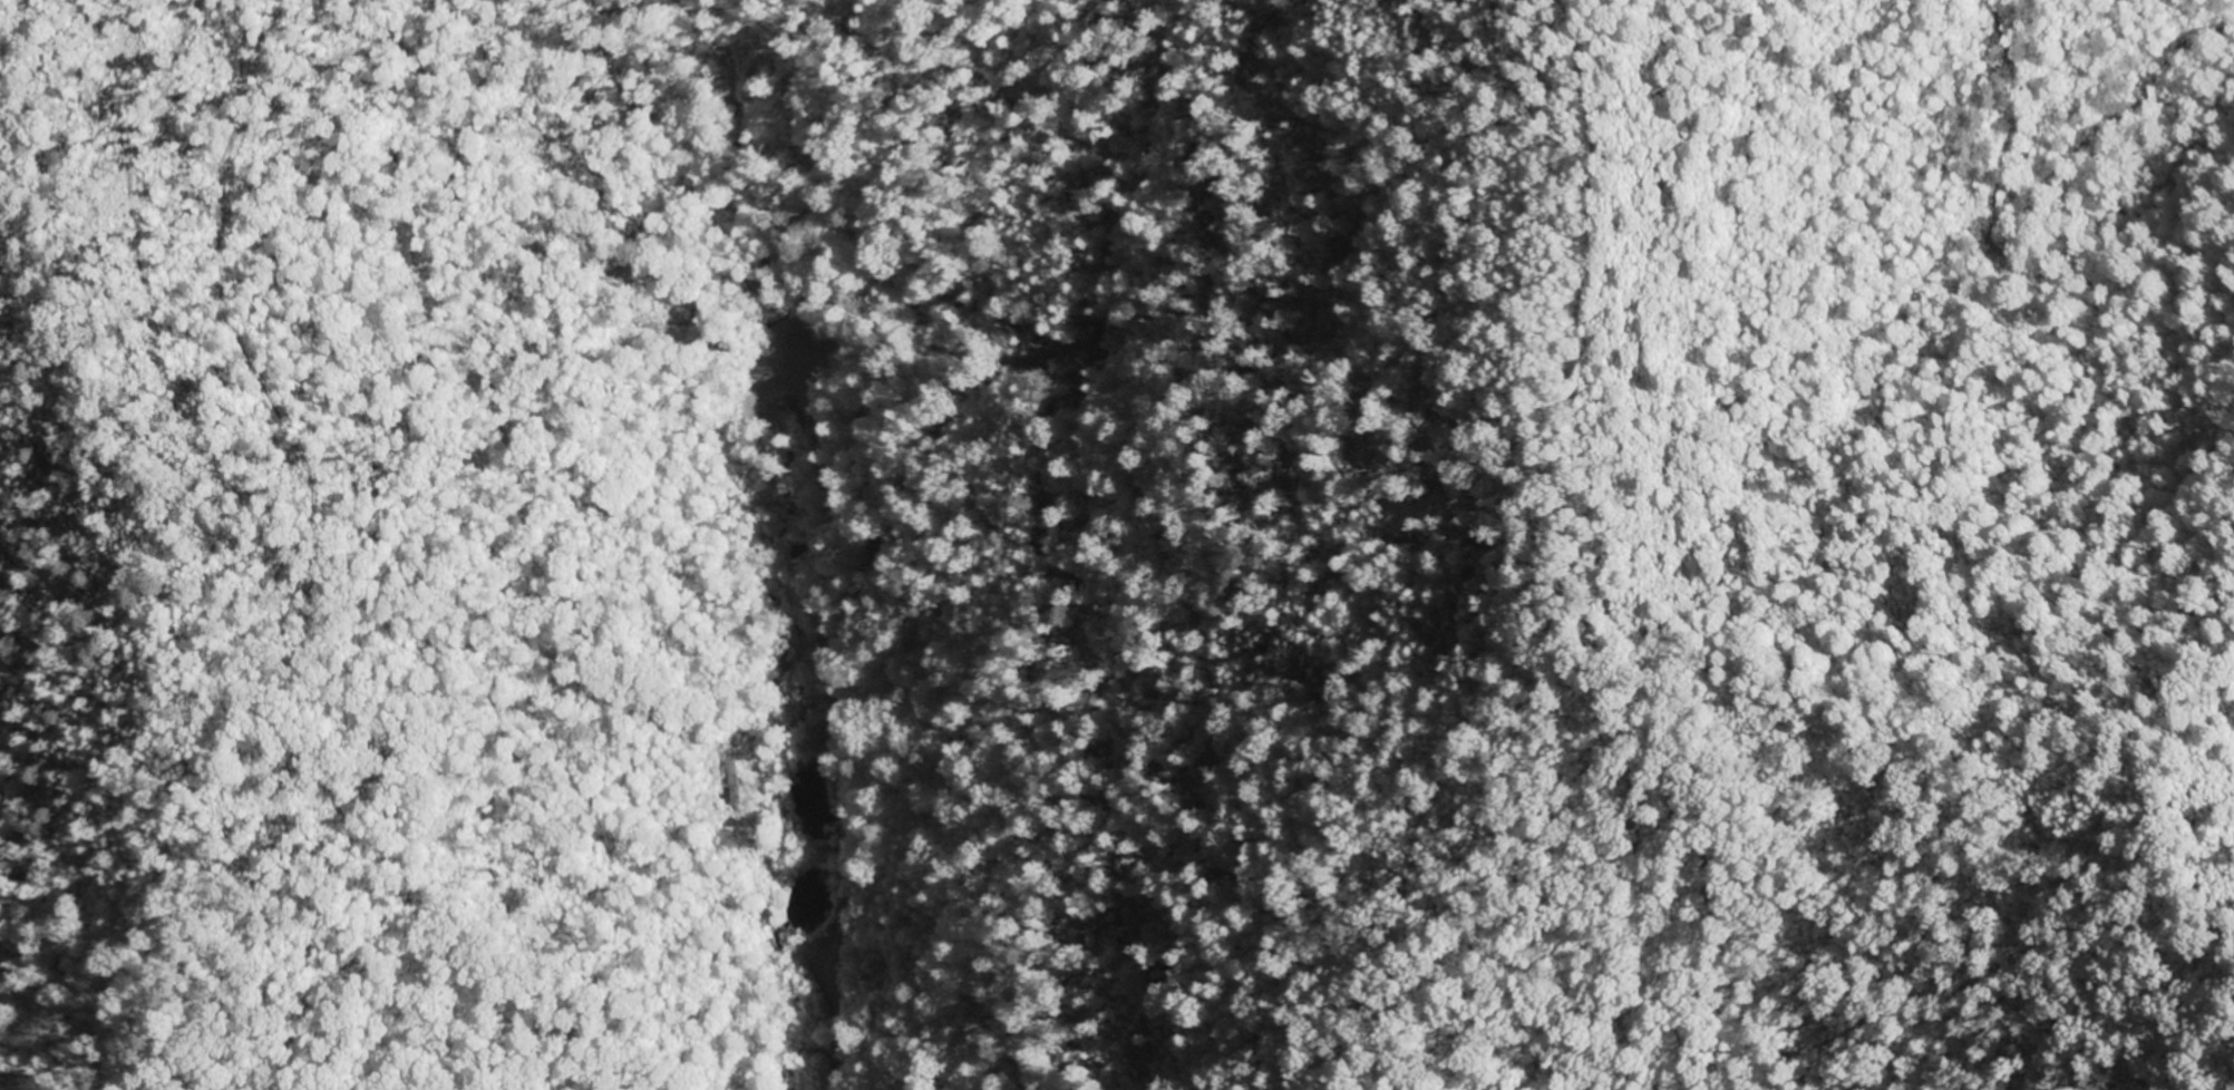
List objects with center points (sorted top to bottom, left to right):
building: (798, 555)
building: (734, 785)

